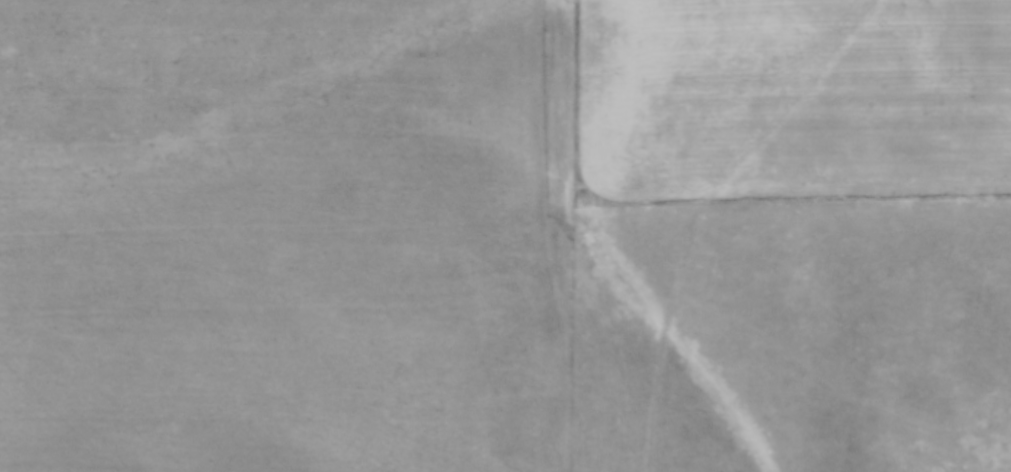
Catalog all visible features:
road: (540, 236)

